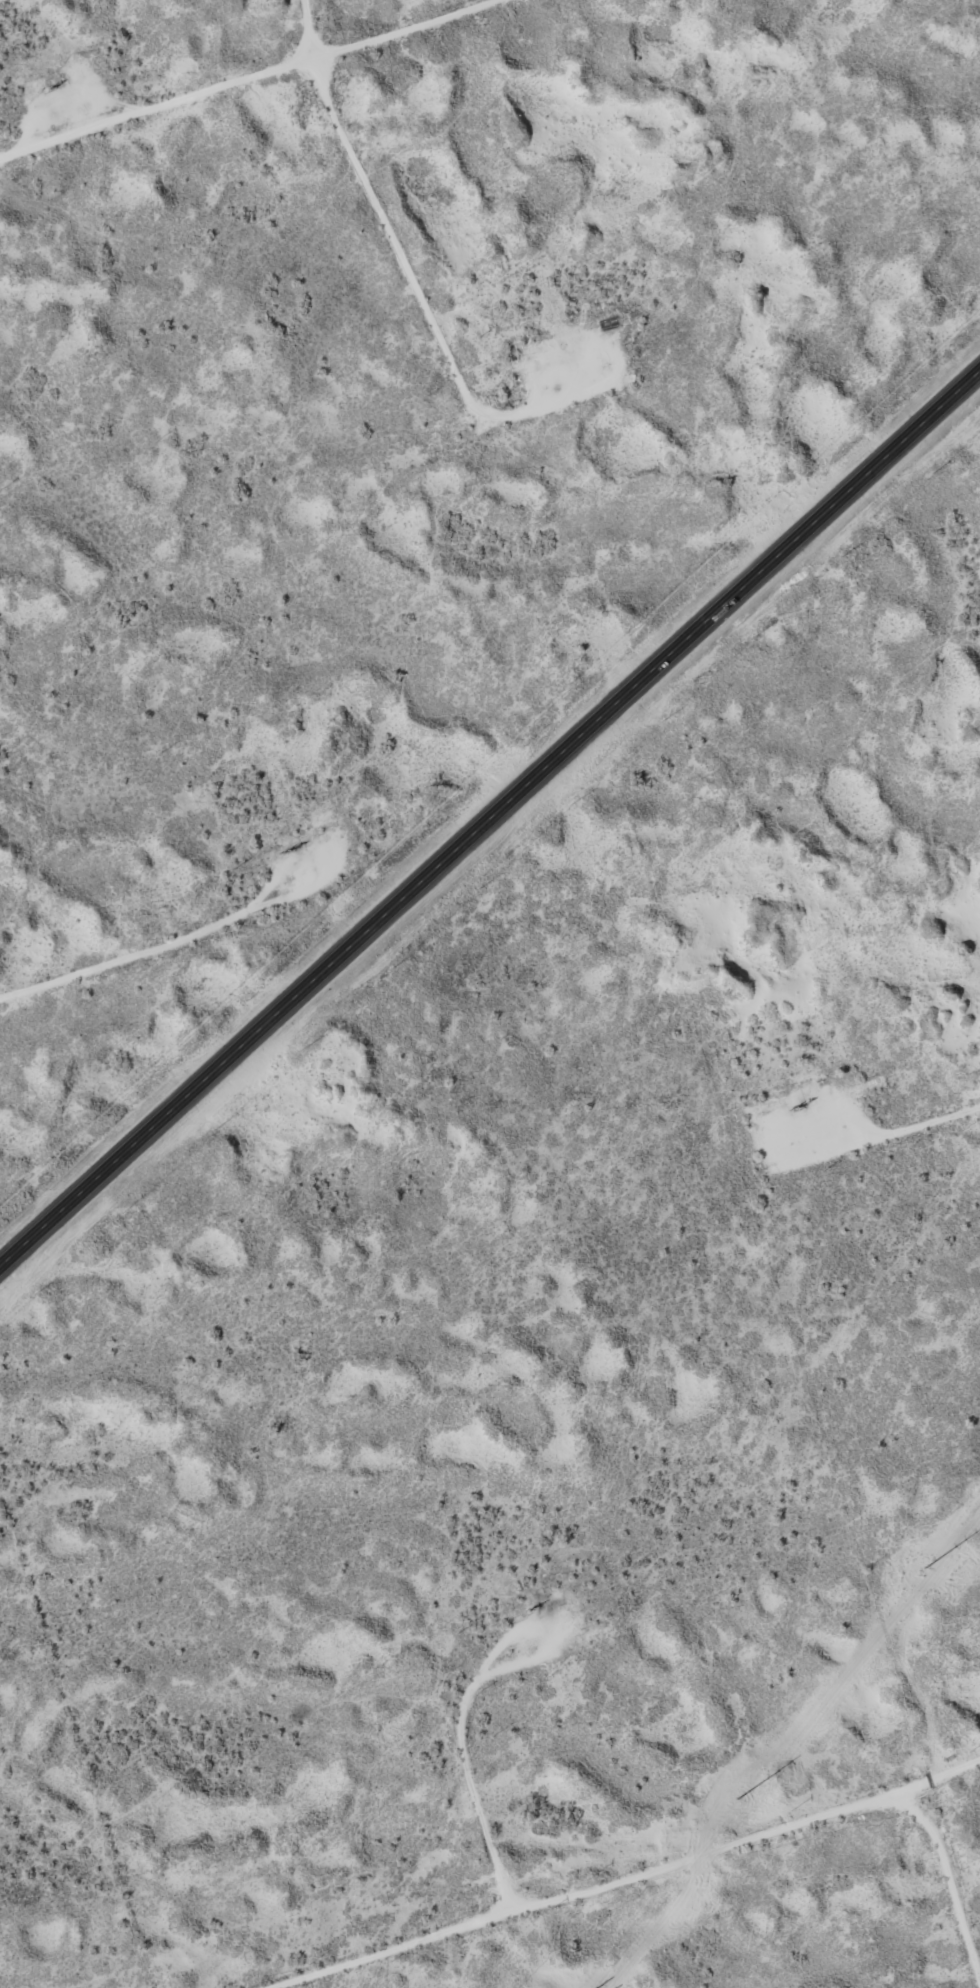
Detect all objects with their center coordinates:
road: (239, 76)
road: (489, 821)
road: (159, 956)
power tower: (960, 1557)
power tower: (751, 1813)
road: (668, 1869)

